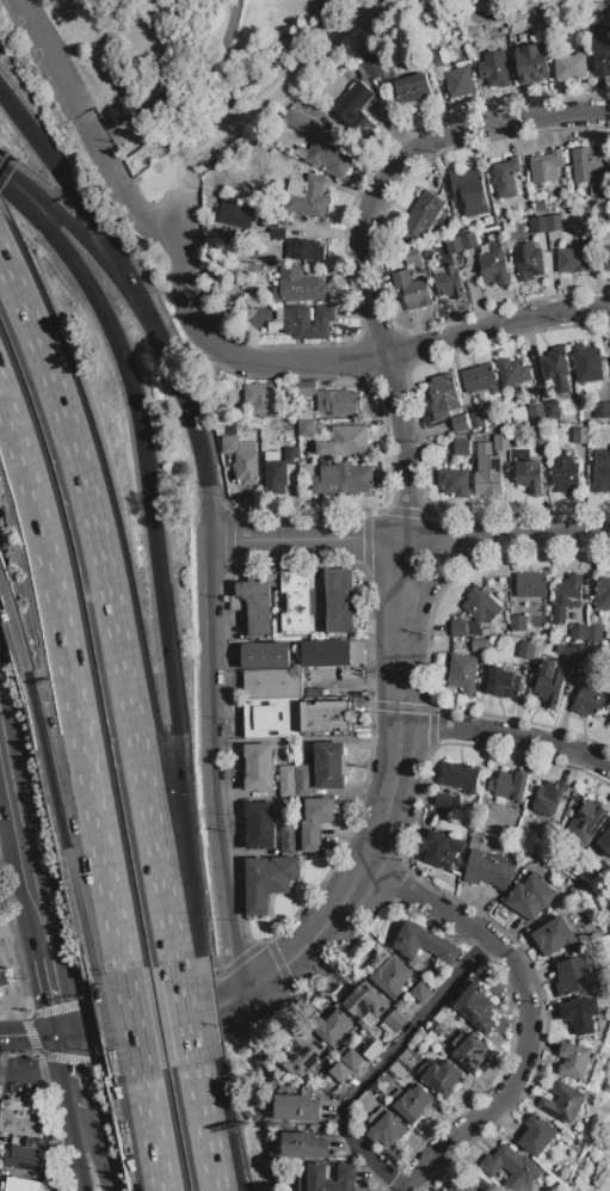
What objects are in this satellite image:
building: (522, 38)
building: (600, 51)
building: (531, 63)
building: (371, 68)
building: (571, 68)
building: (493, 69)
building: (460, 82)
road: (180, 86)
building: (411, 88)
road: (10, 105)
road: (257, 105)
building: (356, 110)
building: (302, 123)
building: (329, 159)
building: (544, 166)
building: (609, 166)
building: (587, 171)
building: (505, 177)
building: (467, 186)
road: (119, 189)
building: (307, 197)
building: (540, 205)
building: (234, 215)
building: (421, 216)
building: (270, 222)
building: (553, 223)
building: (538, 225)
building: (462, 232)
road: (100, 234)
building: (277, 234)
road: (371, 241)
building: (468, 241)
building: (454, 245)
building: (304, 250)
building: (604, 251)
road: (95, 253)
building: (413, 257)
building: (573, 260)
building: (528, 262)
building: (494, 264)
building: (448, 281)
building: (298, 287)
building: (412, 289)
road: (101, 312)
building: (278, 314)
building: (307, 323)
road: (331, 362)
building: (586, 363)
building: (556, 369)
building: (513, 372)
building: (480, 381)
building: (307, 388)
building: (443, 395)
building: (264, 401)
building: (338, 403)
building: (552, 410)
building: (602, 410)
building: (536, 413)
building: (519, 416)
building: (475, 419)
building: (460, 424)
building: (306, 429)
building: (228, 431)
building: (580, 436)
building: (345, 442)
building: (499, 442)
road: (198, 447)
building: (461, 448)
building: (290, 455)
building: (272, 456)
building: (511, 456)
building: (242, 459)
building: (487, 472)
building: (599, 472)
building: (566, 474)
building: (275, 477)
building: (529, 477)
building: (341, 480)
building: (454, 483)
road: (505, 535)
road: (303, 538)
building: (531, 585)
building: (602, 594)
building: (567, 597)
building: (338, 602)
road: (110, 603)
building: (297, 603)
building: (257, 604)
building: (481, 606)
building: (517, 624)
road: (13, 627)
building: (463, 628)
road: (402, 630)
building: (485, 632)
building: (578, 632)
building: (593, 634)
building: (479, 645)
building: (525, 651)
building: (327, 653)
building: (567, 653)
building: (266, 656)
building: (585, 658)
building: (462, 674)
road: (70, 683)
building: (503, 683)
building: (549, 683)
building: (272, 684)
building: (587, 702)
road: (172, 713)
building: (328, 716)
building: (273, 718)
building: (609, 723)
road: (2, 735)
road: (510, 736)
road: (2, 761)
road: (209, 766)
building: (329, 766)
building: (258, 767)
building: (460, 776)
building: (302, 781)
building: (286, 782)
building: (509, 786)
building: (549, 798)
building: (443, 802)
building: (586, 822)
road: (61, 823)
building: (315, 823)
building: (260, 827)
building: (288, 840)
building: (604, 843)
building: (442, 848)
road: (11, 859)
road: (24, 864)
building: (487, 871)
building: (602, 872)
building: (269, 880)
road: (356, 880)
building: (530, 898)
building: (554, 937)
building: (593, 938)
building: (424, 944)
building: (574, 975)
building: (7, 978)
building: (392, 978)
road: (232, 993)
building: (420, 993)
road: (53, 996)
road: (186, 1006)
building: (365, 1006)
building: (476, 1007)
road: (196, 1009)
road: (185, 1012)
road: (528, 1014)
building: (581, 1014)
road: (131, 1021)
building: (393, 1024)
road: (105, 1026)
road: (106, 1026)
building: (334, 1027)
road: (30, 1035)
traffic signals: (62, 1035)
building: (469, 1050)
building: (372, 1051)
building: (304, 1057)
building: (349, 1057)
building: (574, 1061)
road: (381, 1063)
road: (35, 1073)
road: (69, 1073)
building: (340, 1074)
building: (442, 1078)
building: (412, 1103)
building: (563, 1103)
building: (296, 1109)
building: (21, 1119)
road: (80, 1124)
road: (205, 1126)
building: (384, 1129)
road: (150, 1131)
road: (135, 1134)
building: (536, 1136)
building: (36, 1143)
building: (303, 1147)
building: (51, 1158)
building: (25, 1159)
road: (98, 1161)
road: (78, 1164)
building: (511, 1167)
building: (325, 1178)
building: (53, 1183)
building: (21, 1185)
building: (463, 1185)
building: (443, 1190)

